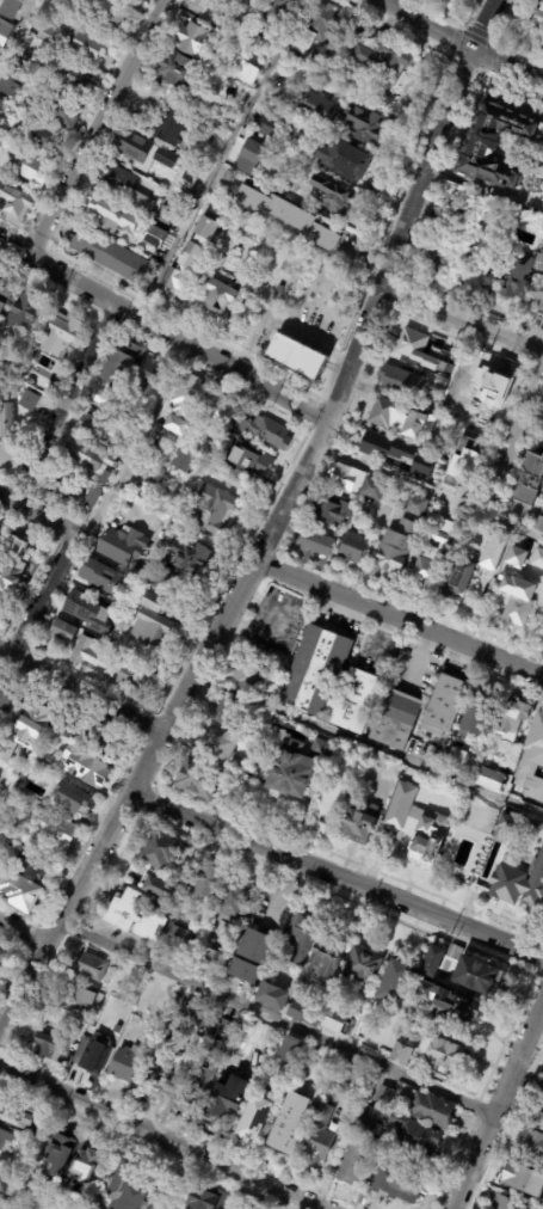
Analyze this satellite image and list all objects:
building: (251, 2)
building: (202, 4)
building: (13, 8)
building: (278, 13)
building: (105, 14)
building: (539, 18)
road: (480, 24)
building: (321, 27)
road: (17, 31)
building: (48, 31)
building: (239, 33)
building: (254, 37)
building: (198, 41)
road: (457, 43)
building: (88, 44)
building: (1, 47)
building: (542, 49)
building: (316, 61)
building: (385, 61)
building: (26, 62)
building: (183, 70)
building: (332, 72)
building: (251, 73)
building: (73, 75)
building: (13, 85)
building: (2, 106)
building: (325, 108)
building: (60, 109)
building: (269, 124)
building: (370, 124)
building: (175, 125)
road: (95, 129)
building: (42, 137)
building: (143, 148)
building: (499, 151)
building: (251, 157)
building: (166, 158)
road: (220, 158)
building: (350, 159)
building: (33, 168)
building: (303, 170)
building: (189, 174)
building: (335, 196)
building: (16, 201)
building: (452, 201)
building: (143, 202)
building: (106, 208)
building: (209, 208)
building: (167, 215)
building: (292, 219)
building: (252, 231)
building: (156, 238)
building: (437, 254)
building: (112, 257)
building: (159, 257)
road: (364, 259)
building: (183, 274)
building: (520, 277)
building: (280, 289)
building: (6, 295)
building: (223, 295)
building: (541, 309)
building: (27, 313)
road: (457, 324)
road: (162, 331)
building: (63, 335)
building: (415, 346)
road: (542, 352)
building: (298, 358)
building: (123, 364)
building: (12, 367)
building: (446, 374)
building: (150, 375)
building: (440, 381)
building: (400, 382)
building: (35, 383)
building: (101, 398)
building: (29, 400)
road: (61, 403)
building: (186, 403)
road: (522, 405)
building: (222, 409)
building: (105, 411)
building: (383, 413)
building: (7, 421)
building: (241, 425)
building: (93, 426)
building: (116, 426)
building: (272, 431)
building: (128, 435)
road: (134, 446)
building: (401, 453)
building: (88, 455)
building: (220, 459)
building: (185, 460)
building: (257, 464)
building: (462, 465)
building: (529, 478)
building: (354, 480)
building: (104, 484)
building: (64, 485)
building: (141, 487)
road: (427, 493)
building: (93, 496)
building: (414, 502)
building: (214, 509)
building: (328, 509)
road: (37, 517)
building: (539, 523)
building: (338, 532)
building: (316, 541)
building: (160, 544)
building: (124, 546)
building: (492, 546)
building: (353, 547)
road: (258, 548)
building: (393, 548)
building: (431, 551)
building: (191, 557)
building: (516, 557)
building: (537, 558)
building: (533, 569)
building: (140, 571)
building: (12, 576)
building: (163, 577)
building: (457, 577)
building: (104, 579)
road: (42, 599)
building: (152, 601)
building: (518, 606)
building: (91, 612)
road: (397, 619)
building: (152, 630)
building: (64, 631)
building: (260, 649)
building: (393, 650)
building: (95, 655)
building: (245, 673)
building: (140, 680)
building: (327, 680)
building: (271, 687)
road: (80, 693)
building: (5, 704)
building: (221, 711)
building: (419, 711)
building: (476, 711)
building: (512, 713)
building: (69, 730)
building: (27, 731)
building: (189, 738)
building: (109, 741)
building: (217, 745)
road: (368, 745)
building: (321, 748)
building: (44, 757)
building: (455, 757)
building: (532, 760)
building: (291, 768)
building: (391, 768)
building: (90, 769)
building: (196, 778)
building: (489, 778)
building: (74, 797)
building: (14, 810)
building: (507, 814)
building: (506, 822)
building: (418, 826)
building: (357, 827)
building: (58, 830)
building: (468, 839)
building: (156, 849)
building: (38, 864)
road: (335, 876)
building: (208, 880)
building: (508, 880)
building: (158, 888)
building: (17, 890)
building: (229, 907)
building: (132, 915)
road: (21, 934)
building: (178, 937)
building: (296, 938)
building: (452, 951)
building: (248, 956)
building: (4, 958)
building: (323, 958)
building: (206, 961)
building: (431, 962)
building: (88, 966)
building: (360, 966)
building: (473, 974)
building: (395, 976)
building: (130, 978)
building: (270, 995)
building: (79, 998)
building: (443, 1004)
building: (302, 1013)
road: (272, 1021)
building: (338, 1021)
building: (243, 1025)
building: (272, 1036)
building: (236, 1042)
building: (49, 1049)
building: (289, 1049)
building: (400, 1054)
building: (90, 1055)
building: (163, 1055)
building: (446, 1055)
building: (124, 1063)
building: (348, 1073)
road: (525, 1080)
building: (383, 1096)
road: (495, 1100)
building: (224, 1101)
building: (428, 1109)
building: (20, 1113)
building: (255, 1116)
building: (369, 1119)
building: (290, 1121)
building: (539, 1122)
building: (320, 1135)
building: (351, 1135)
building: (413, 1136)
road: (159, 1137)
building: (4, 1140)
building: (529, 1144)
building: (66, 1152)
building: (91, 1161)
building: (352, 1165)
building: (523, 1179)
building: (395, 1182)
building: (131, 1189)
building: (208, 1197)
building: (501, 1202)
building: (2, 1207)
building: (251, 1208)

